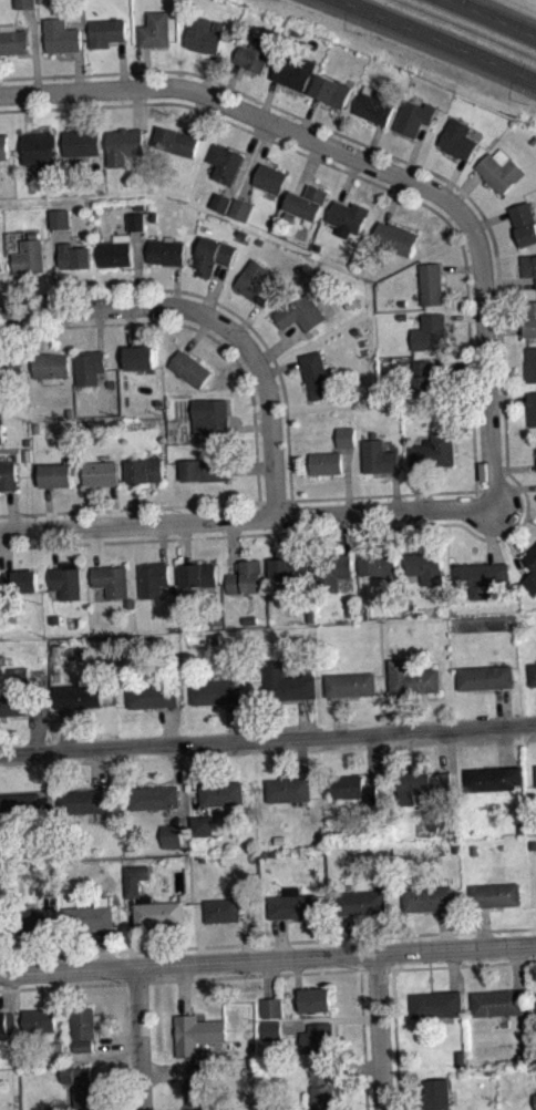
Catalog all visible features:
building: (25, 3)
road: (495, 17)
building: (155, 29)
building: (105, 31)
building: (204, 33)
building: (62, 34)
building: (14, 41)
road: (437, 41)
road: (35, 48)
building: (255, 53)
road: (121, 62)
road: (145, 65)
road: (76, 69)
building: (293, 71)
road: (207, 72)
road: (229, 82)
building: (331, 90)
road: (267, 97)
building: (375, 104)
road: (137, 106)
road: (68, 110)
road: (27, 111)
road: (198, 114)
road: (307, 114)
building: (414, 116)
building: (458, 138)
building: (176, 141)
building: (81, 142)
road: (372, 142)
building: (124, 144)
building: (3, 145)
building: (39, 146)
road: (414, 150)
road: (246, 157)
road: (256, 160)
building: (225, 162)
road: (308, 166)
road: (378, 166)
building: (501, 171)
road: (453, 176)
building: (270, 177)
road: (348, 178)
road: (369, 179)
road: (466, 186)
road: (393, 199)
building: (220, 202)
building: (307, 202)
building: (221, 208)
building: (241, 208)
building: (348, 216)
building: (60, 217)
road: (489, 218)
building: (136, 220)
building: (525, 222)
building: (396, 237)
building: (166, 250)
building: (115, 253)
building: (213, 254)
building: (30, 255)
building: (74, 255)
building: (1, 263)
building: (528, 264)
road: (138, 267)
road: (461, 267)
road: (55, 268)
building: (256, 280)
building: (431, 282)
road: (509, 282)
road: (176, 285)
road: (213, 287)
road: (19, 291)
road: (218, 301)
building: (300, 312)
road: (464, 316)
road: (214, 318)
road: (247, 318)
building: (530, 318)
road: (130, 326)
road: (196, 327)
road: (99, 329)
road: (505, 330)
road: (38, 331)
building: (430, 331)
road: (197, 333)
road: (278, 345)
building: (141, 357)
building: (51, 363)
building: (530, 364)
building: (11, 366)
building: (90, 366)
road: (280, 366)
road: (458, 366)
building: (190, 368)
building: (315, 374)
road: (502, 376)
road: (505, 376)
building: (430, 380)
road: (506, 395)
building: (532, 408)
building: (210, 415)
road: (250, 426)
building: (1, 431)
building: (346, 436)
building: (434, 450)
building: (378, 456)
building: (326, 462)
road: (250, 466)
road: (512, 466)
building: (205, 469)
building: (145, 470)
building: (102, 473)
building: (8, 475)
building: (56, 475)
road: (347, 479)
road: (420, 487)
road: (394, 490)
road: (511, 490)
road: (249, 501)
road: (134, 502)
road: (114, 505)
road: (48, 507)
road: (9, 510)
road: (244, 516)
road: (410, 530)
road: (363, 531)
road: (346, 532)
road: (491, 534)
road: (275, 536)
road: (509, 539)
road: (161, 541)
road: (185, 542)
road: (233, 544)
road: (95, 545)
road: (54, 547)
road: (8, 551)
building: (378, 562)
building: (532, 563)
building: (424, 565)
building: (332, 569)
building: (291, 571)
building: (198, 574)
building: (481, 576)
building: (153, 577)
building: (246, 577)
building: (112, 578)
building: (68, 579)
building: (21, 580)
building: (18, 674)
building: (533, 674)
building: (485, 676)
building: (412, 677)
building: (288, 682)
building: (351, 684)
building: (216, 691)
building: (78, 695)
building: (152, 695)
building: (21, 701)
road: (503, 705)
road: (44, 706)
road: (401, 710)
road: (339, 715)
road: (307, 716)
road: (233, 720)
road: (168, 724)
road: (64, 728)
road: (268, 737)
road: (505, 744)
road: (443, 749)
road: (301, 757)
road: (371, 758)
road: (95, 769)
road: (194, 778)
building: (493, 778)
road: (182, 782)
building: (421, 783)
road: (47, 787)
building: (353, 788)
building: (288, 789)
building: (220, 792)
building: (154, 796)
building: (81, 800)
building: (20, 804)
building: (200, 824)
building: (40, 833)
building: (172, 834)
building: (135, 878)
building: (47, 885)
building: (48, 893)
building: (495, 894)
building: (429, 897)
building: (361, 902)
building: (292, 904)
building: (223, 909)
building: (159, 913)
building: (90, 915)
building: (24, 921)
road: (482, 926)
road: (444, 928)
road: (245, 929)
road: (52, 931)
road: (131, 931)
road: (348, 934)
road: (280, 937)
road: (267, 941)
road: (104, 947)
road: (267, 958)
road: (464, 964)
road: (518, 967)
road: (375, 968)
road: (452, 968)
road: (270, 977)
road: (179, 978)
road: (183, 987)
road: (10, 988)
building: (316, 999)
building: (497, 1001)
building: (436, 1003)
road: (58, 1005)
building: (272, 1007)
building: (40, 1019)
road: (329, 1019)
building: (7, 1021)
building: (83, 1022)
building: (272, 1029)
road: (378, 1030)
building: (197, 1032)
road: (137, 1037)
building: (318, 1037)
road: (362, 1039)
road: (395, 1039)
road: (117, 1041)
building: (56, 1049)
road: (353, 1066)
building: (200, 1068)
road: (166, 1070)
building: (75, 1071)
building: (78, 1081)
building: (321, 1087)
building: (199, 1091)
building: (436, 1093)
building: (86, 1098)
building: (535, 1098)

